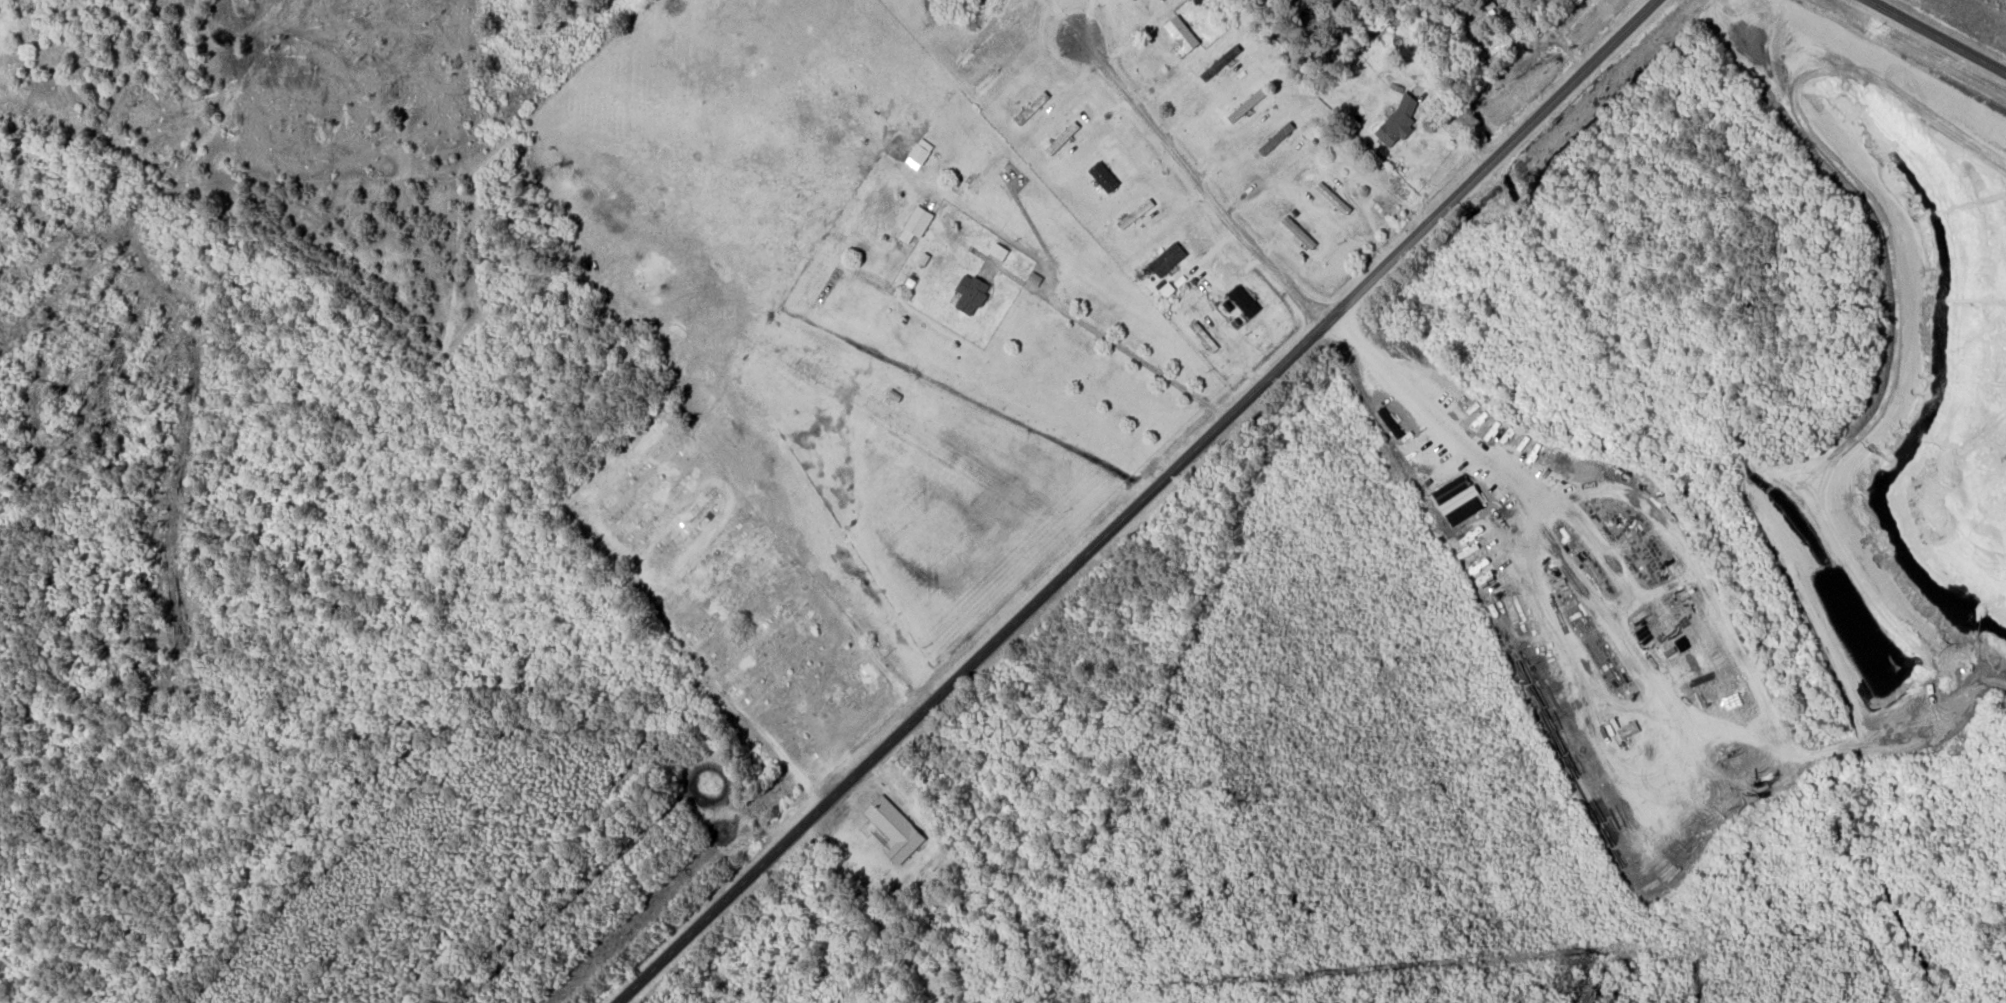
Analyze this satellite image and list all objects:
road: (1635, 20)
building: (1180, 32)
road: (1938, 35)
building: (1246, 104)
building: (1396, 121)
building: (918, 153)
road: (1477, 174)
road: (1199, 181)
building: (1332, 197)
building: (1166, 258)
building: (970, 292)
building: (1242, 300)
road: (1332, 315)
road: (1131, 353)
road: (1441, 404)
road: (971, 662)
building: (893, 828)

